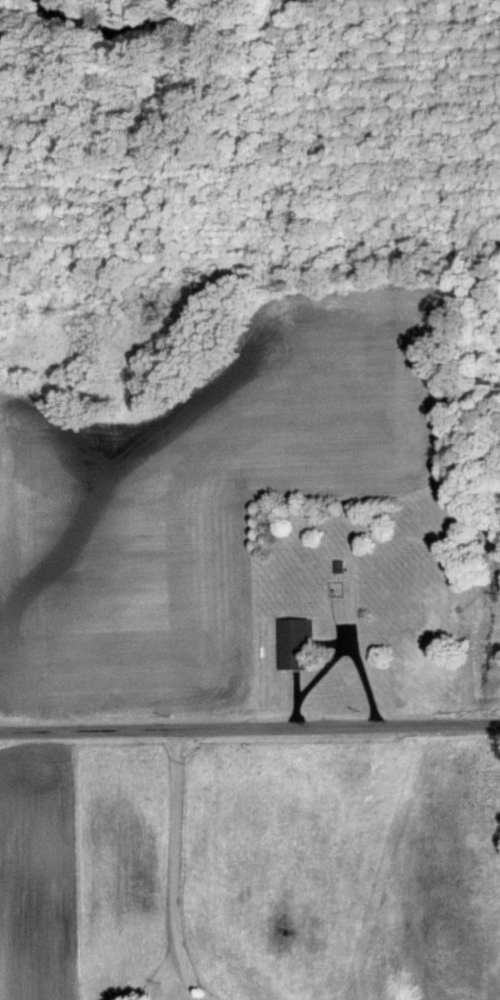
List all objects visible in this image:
building: (295, 643)
road: (250, 726)

